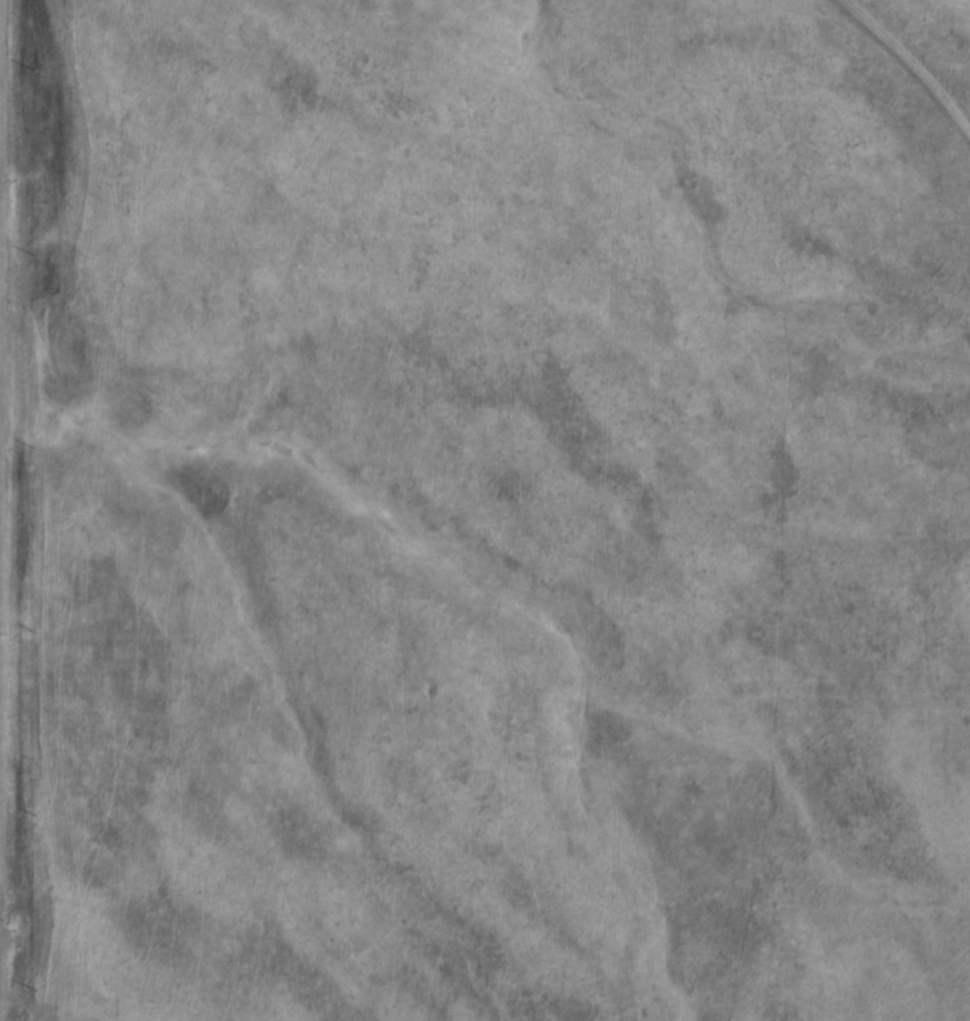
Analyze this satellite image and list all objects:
road: (901, 65)

